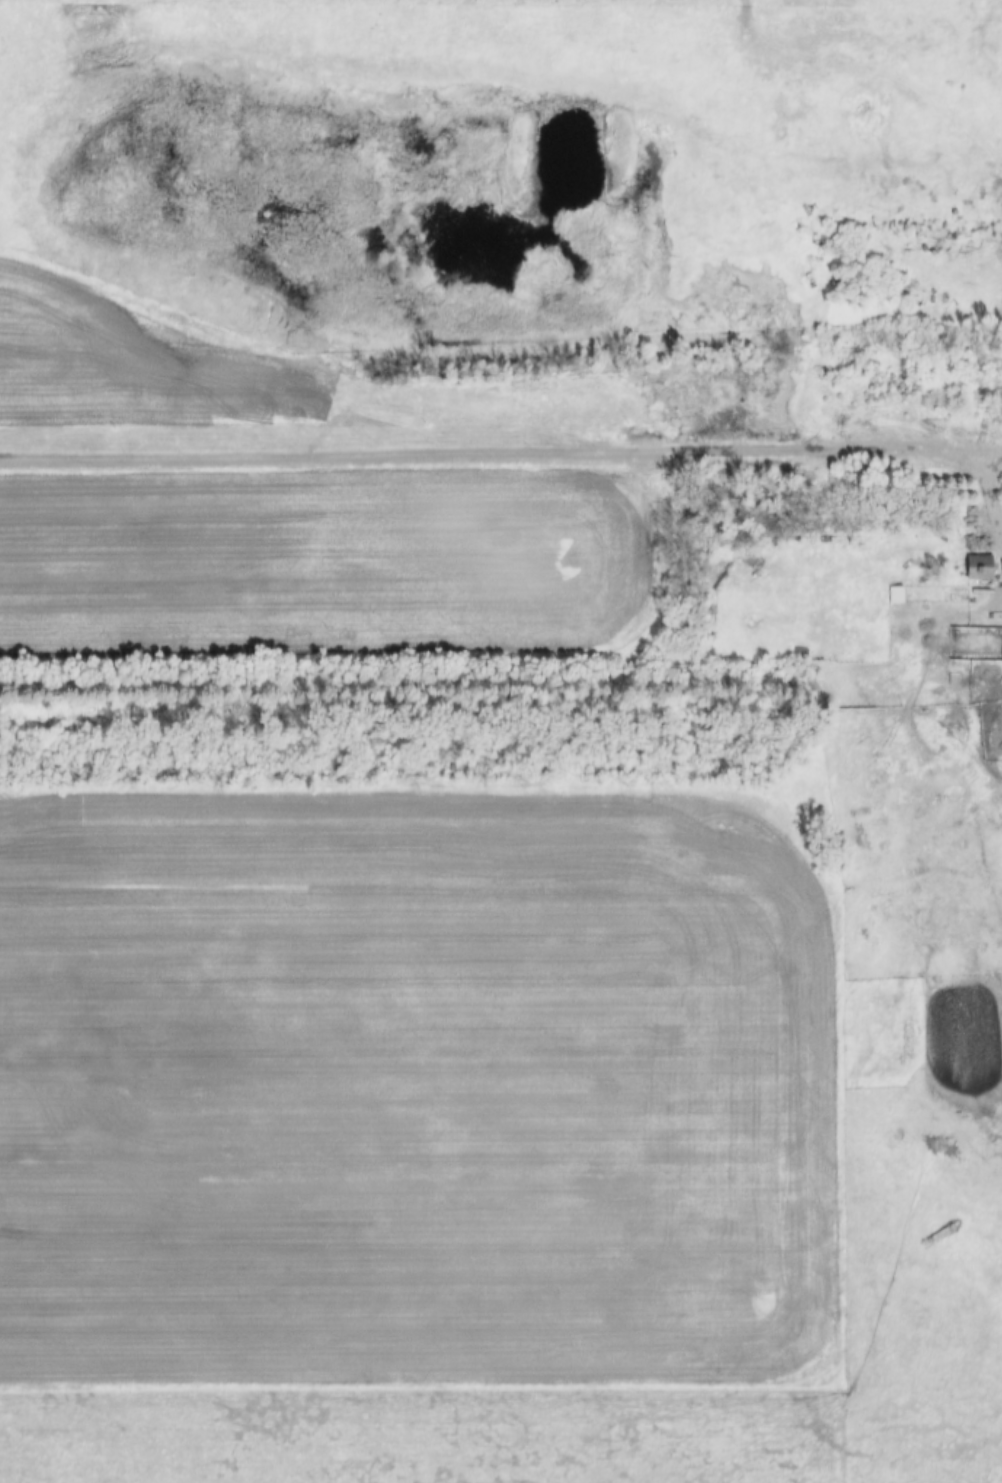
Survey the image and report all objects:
road: (1001, 172)
road: (501, 450)
road: (991, 488)
building: (982, 567)
building: (900, 594)
building: (977, 644)

